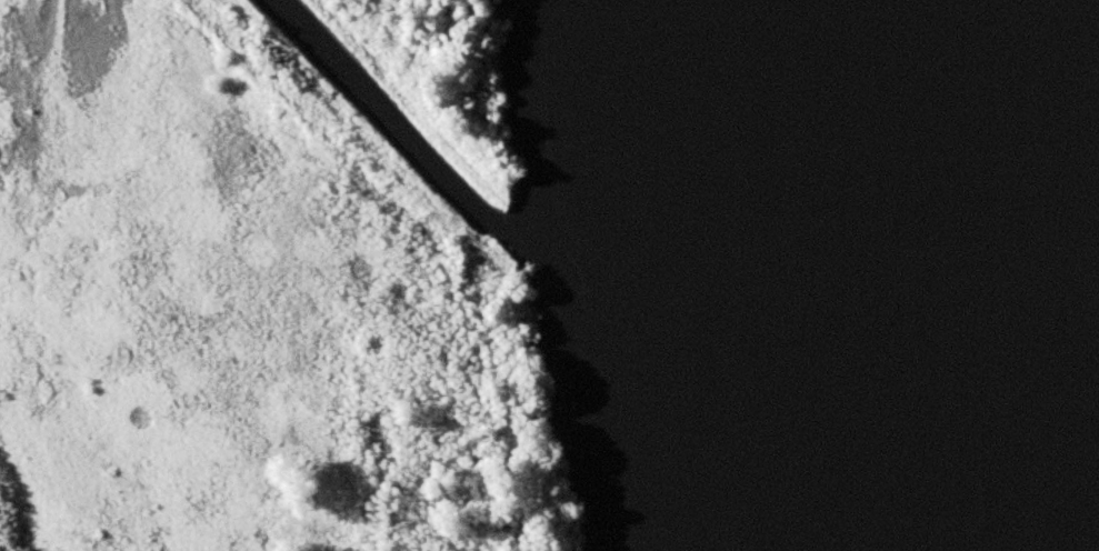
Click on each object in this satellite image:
river: (972, 275)

